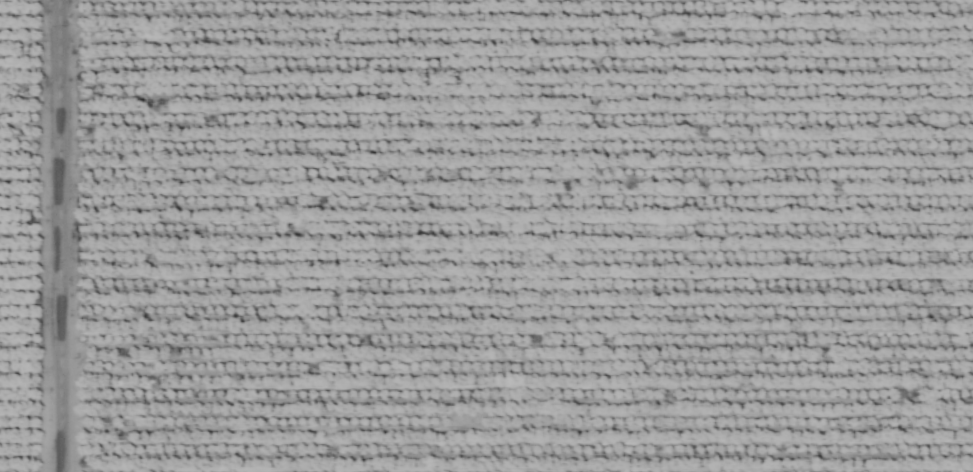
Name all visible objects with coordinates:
road: (52, 236)
crop: (486, 236)

